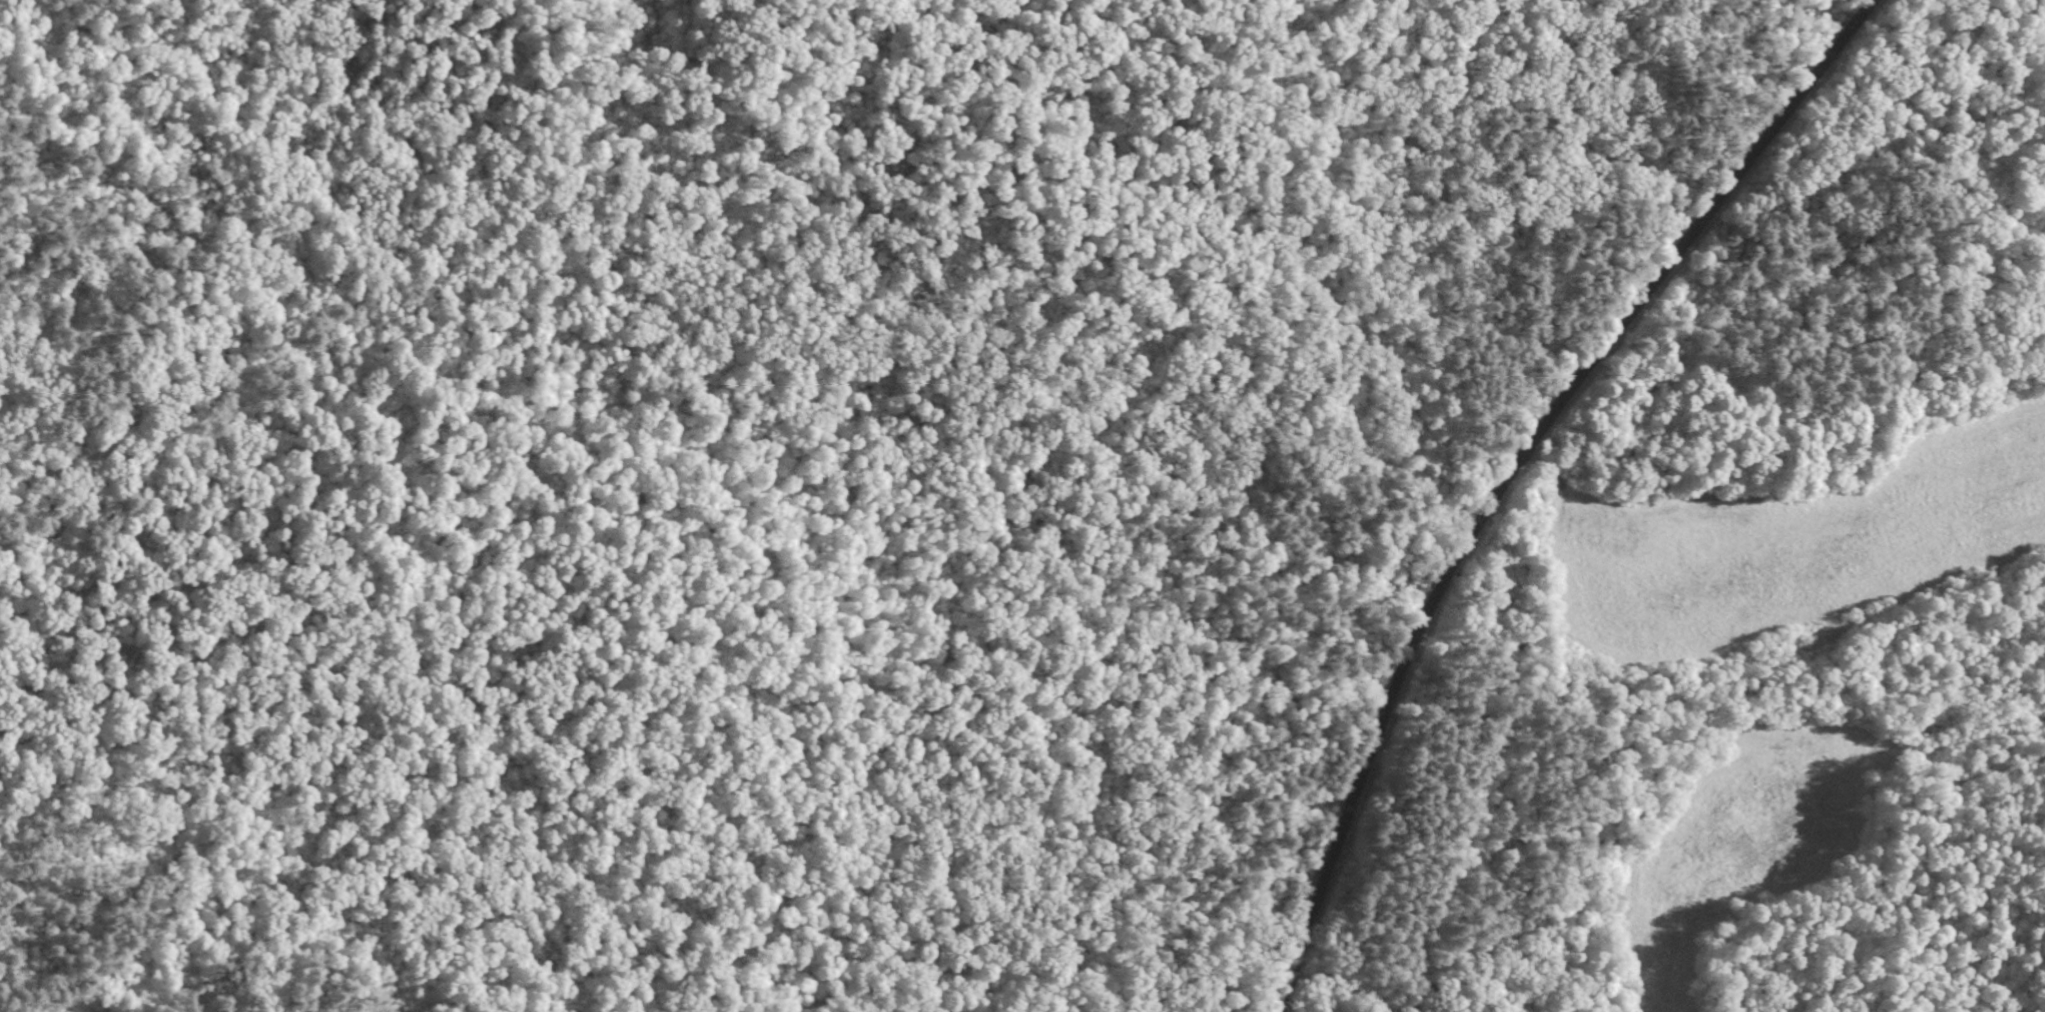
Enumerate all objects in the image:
road: (1515, 472)

